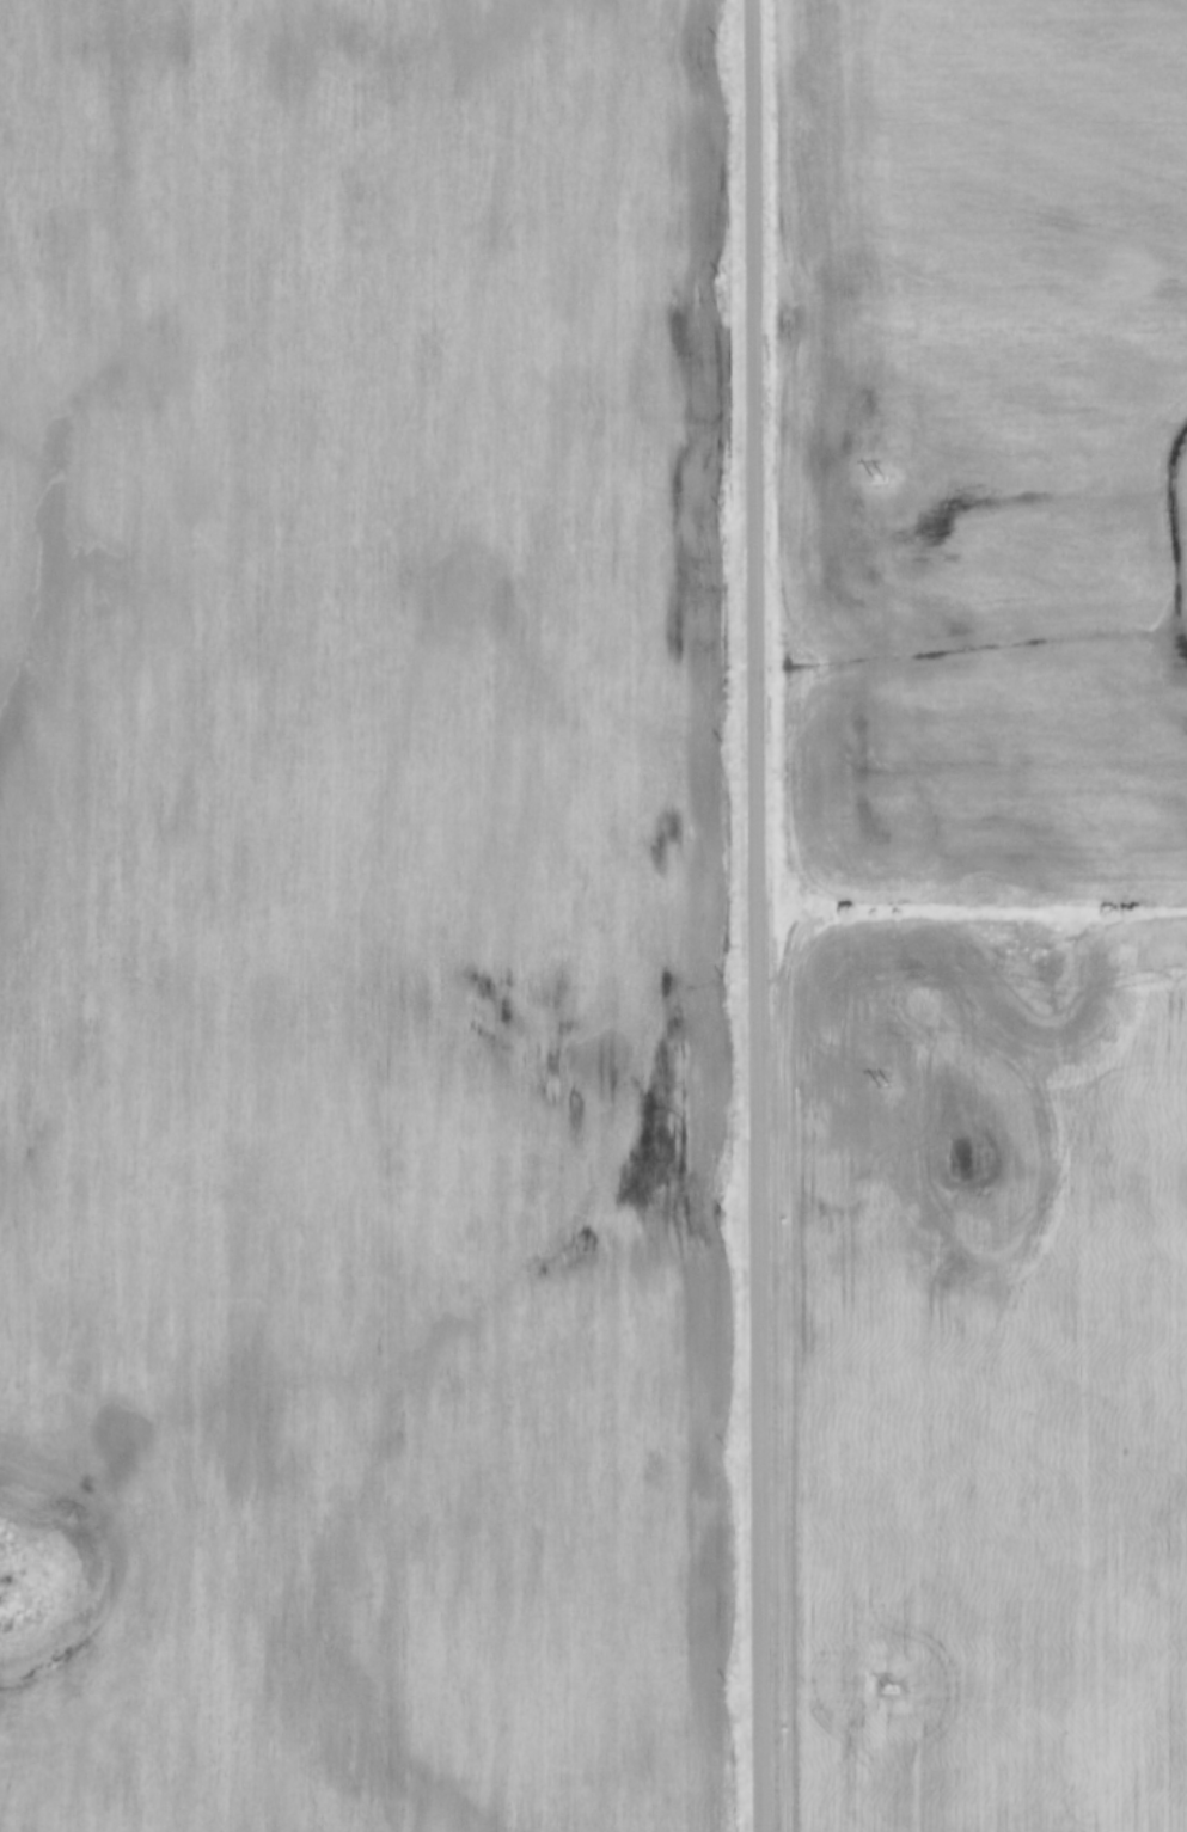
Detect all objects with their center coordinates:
power tower: (874, 477)
road: (761, 915)
power tower: (880, 1087)
power tower: (886, 1692)

